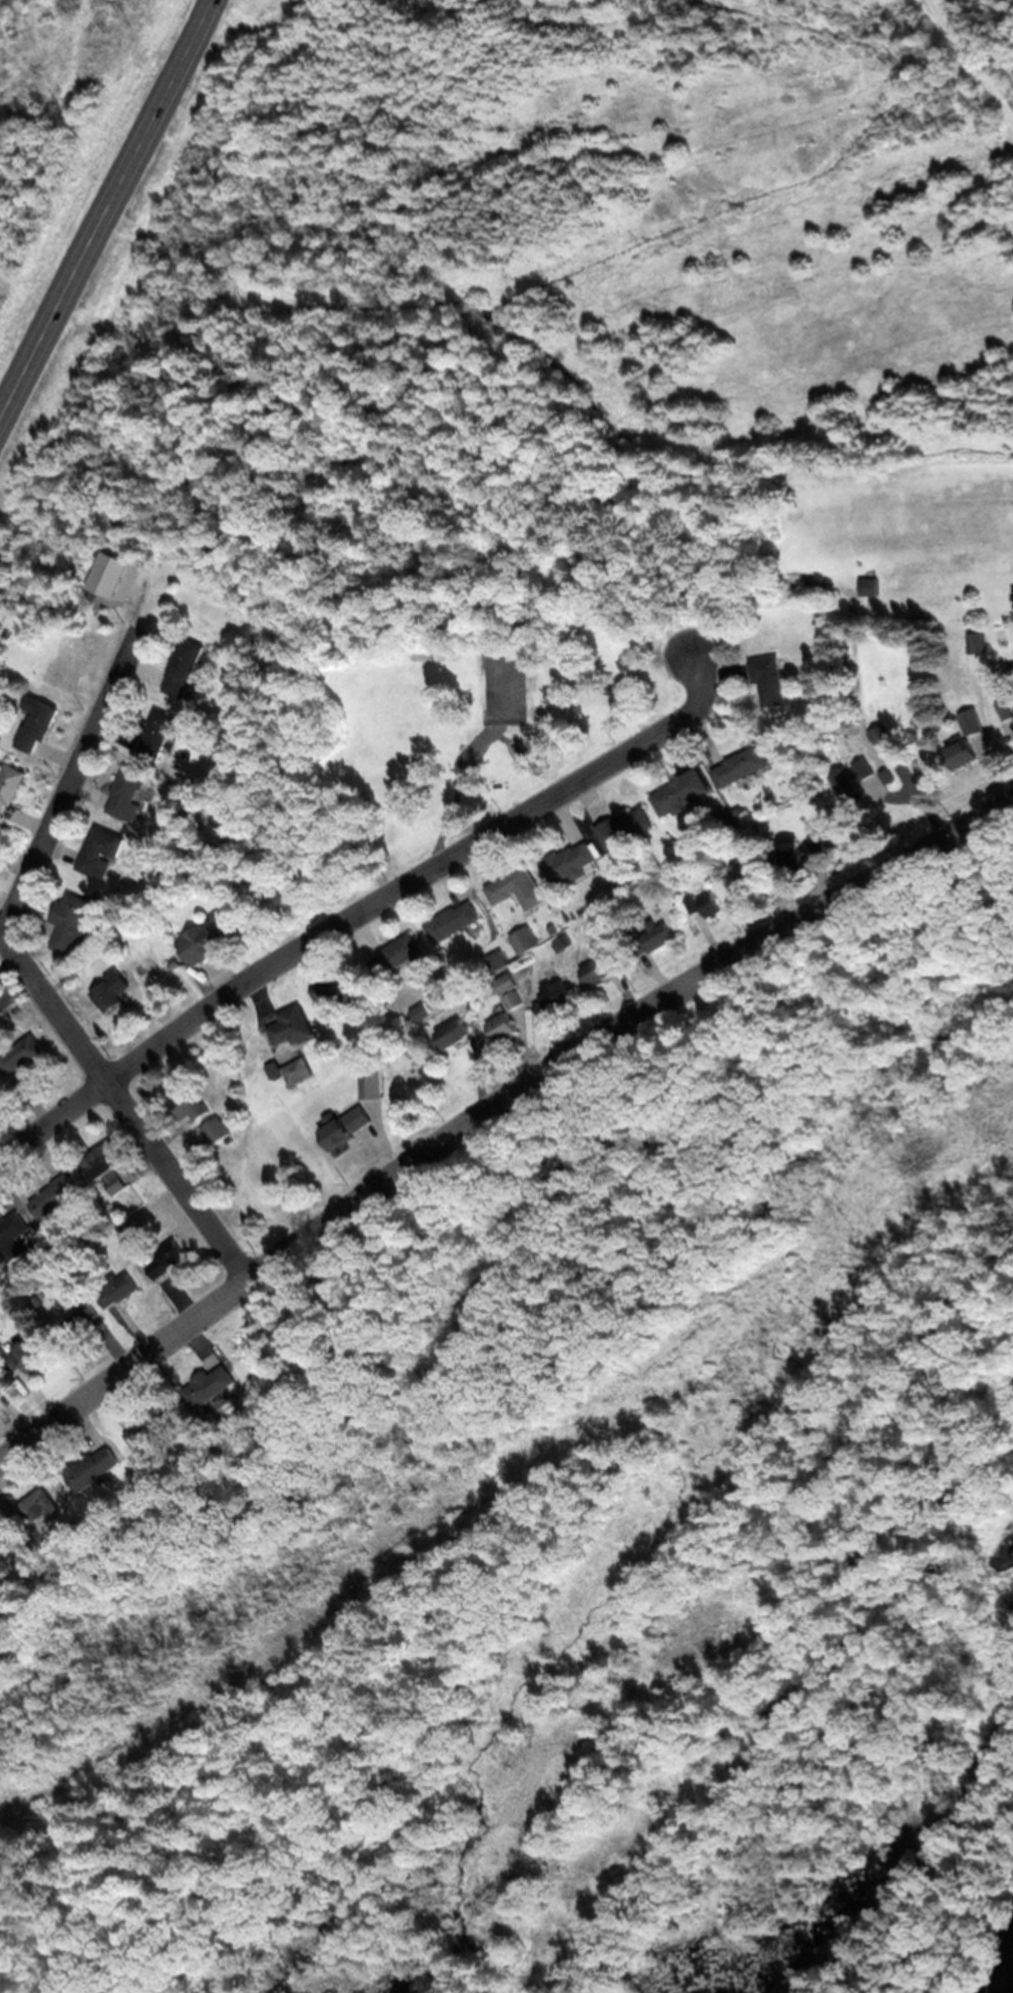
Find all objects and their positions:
road: (110, 215)
building: (776, 566)
building: (108, 572)
building: (872, 586)
building: (978, 642)
building: (185, 668)
building: (771, 678)
building: (77, 681)
building: (1006, 707)
building: (850, 718)
park: (490, 719)
building: (973, 720)
building: (39, 725)
building: (157, 734)
building: (883, 734)
road: (502, 737)
building: (963, 752)
building: (743, 765)
building: (890, 775)
building: (855, 779)
building: (11, 785)
road: (68, 785)
road: (460, 791)
building: (129, 792)
building: (682, 792)
building: (626, 827)
building: (101, 850)
building: (815, 850)
building: (794, 852)
building: (571, 862)
building: (180, 865)
building: (246, 865)
building: (752, 870)
building: (519, 887)
building: (615, 888)
building: (683, 891)
building: (694, 903)
building: (712, 904)
road: (362, 911)
building: (73, 918)
building: (455, 921)
building: (219, 932)
building: (654, 937)
building: (527, 939)
building: (565, 942)
building: (398, 955)
building: (614, 957)
building: (500, 960)
building: (176, 962)
building: (597, 972)
building: (71, 976)
building: (508, 982)
building: (343, 987)
building: (114, 989)
building: (556, 995)
building: (516, 999)
building: (17, 1009)
building: (421, 1011)
building: (8, 1016)
building: (293, 1026)
building: (506, 1027)
building: (461, 1029)
building: (358, 1053)
building: (22, 1054)
building: (295, 1071)
building: (374, 1082)
building: (1, 1085)
road: (128, 1104)
building: (190, 1106)
road: (493, 1109)
building: (348, 1127)
building: (217, 1129)
building: (108, 1164)
building: (56, 1194)
building: (116, 1214)
building: (14, 1235)
building: (94, 1256)
building: (169, 1258)
building: (119, 1289)
building: (39, 1300)
building: (84, 1320)
building: (29, 1355)
building: (210, 1386)
building: (2, 1390)
building: (153, 1424)
building: (95, 1467)
building: (31, 1510)
building: (64, 1565)
building: (24, 1608)

